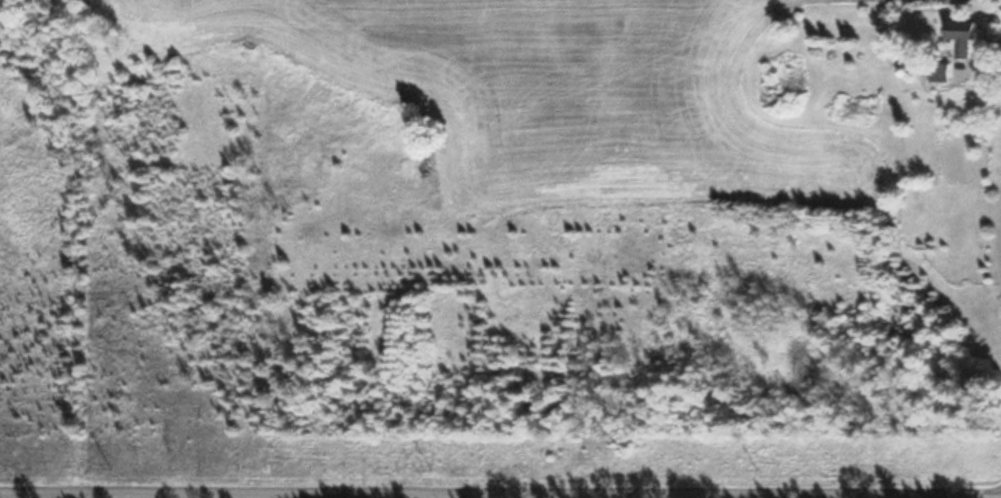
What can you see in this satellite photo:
building: (966, 37)
building: (942, 72)
building: (857, 107)

